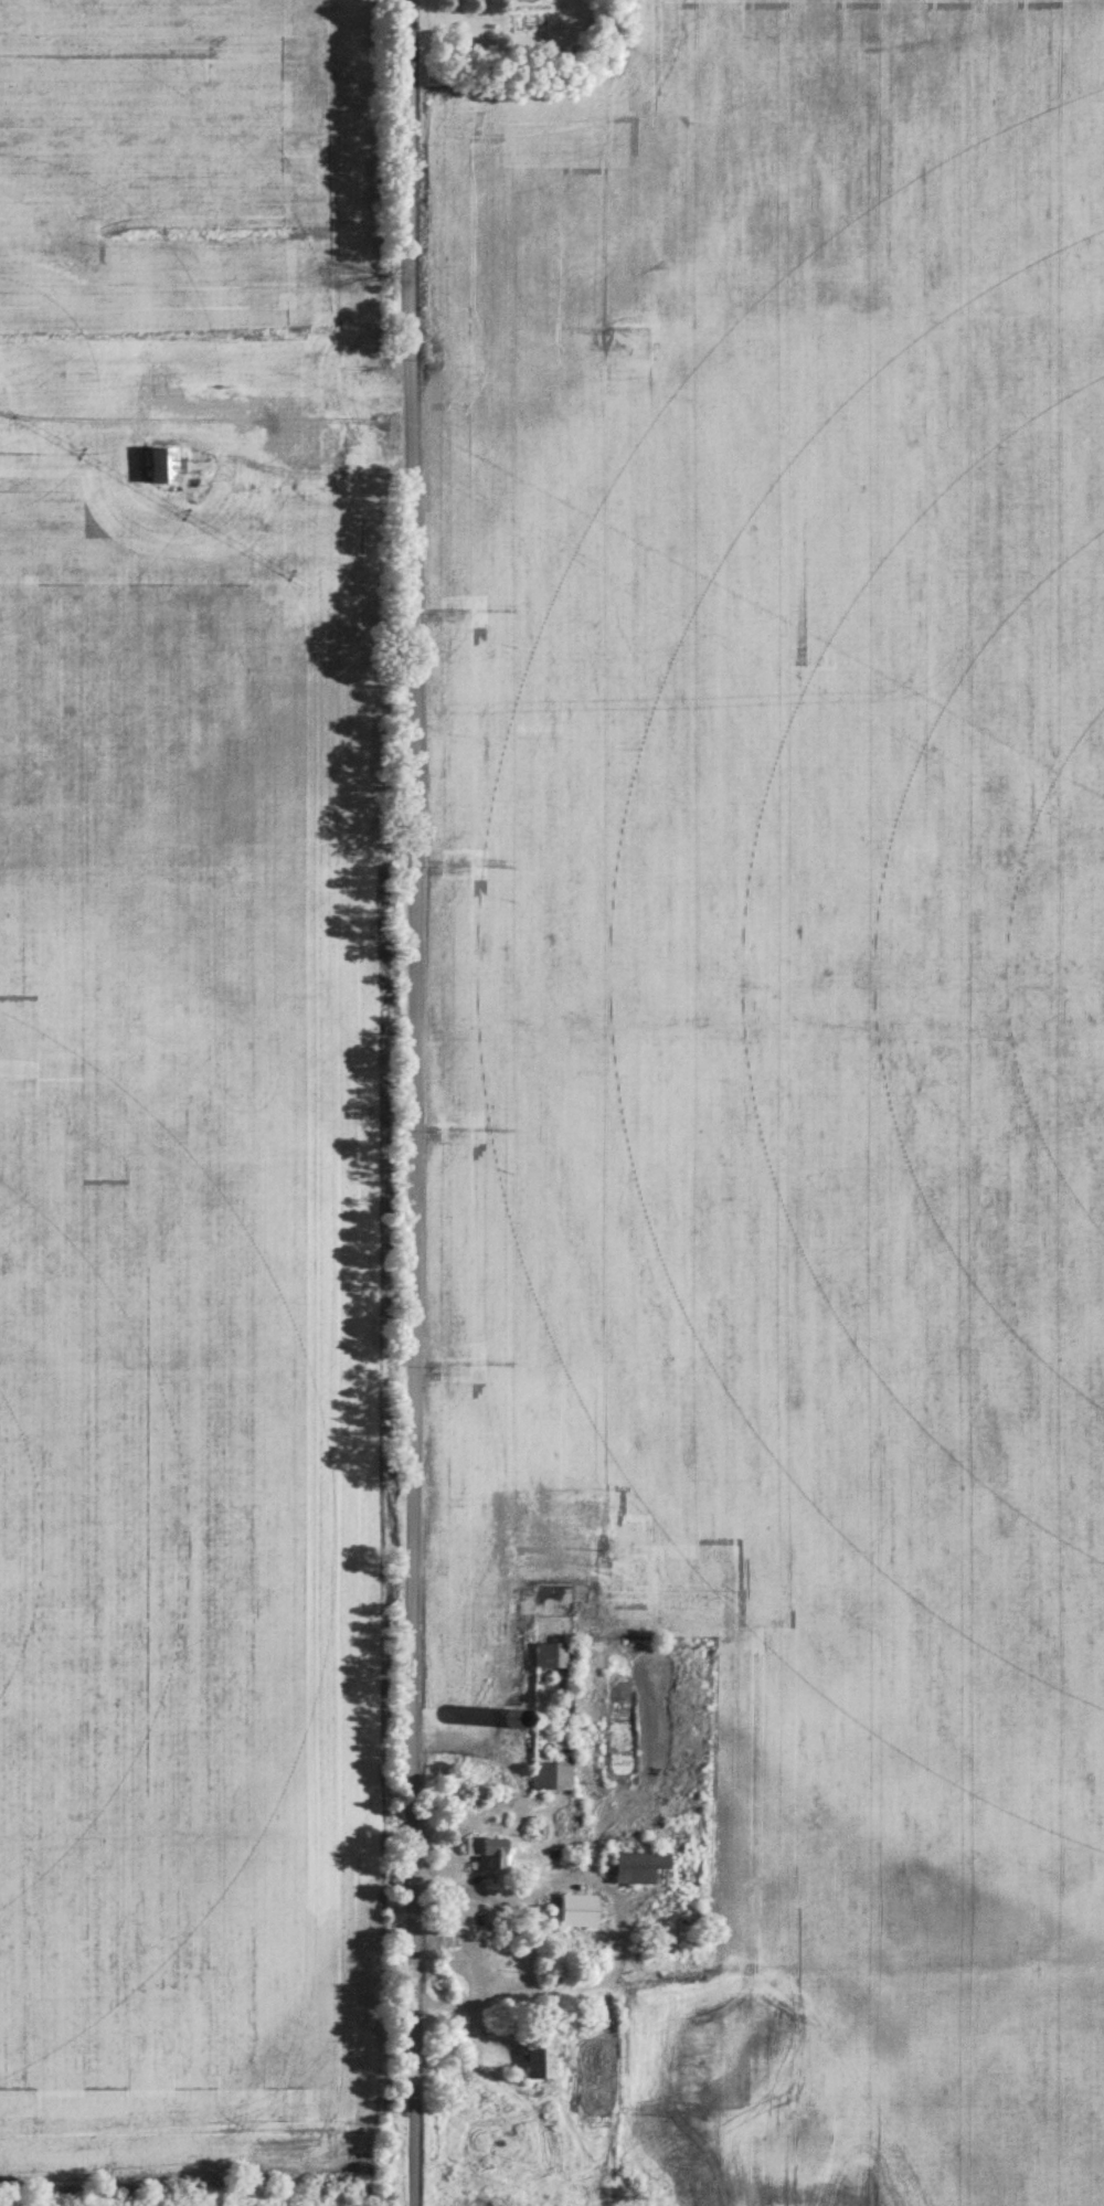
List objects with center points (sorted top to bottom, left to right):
building: (522, 0)
building: (168, 395)
building: (230, 413)
building: (296, 448)
building: (164, 466)
road: (417, 1103)
building: (553, 1662)
building: (552, 1768)
building: (495, 1852)
building: (643, 1867)
building: (578, 1909)
building: (540, 2057)

